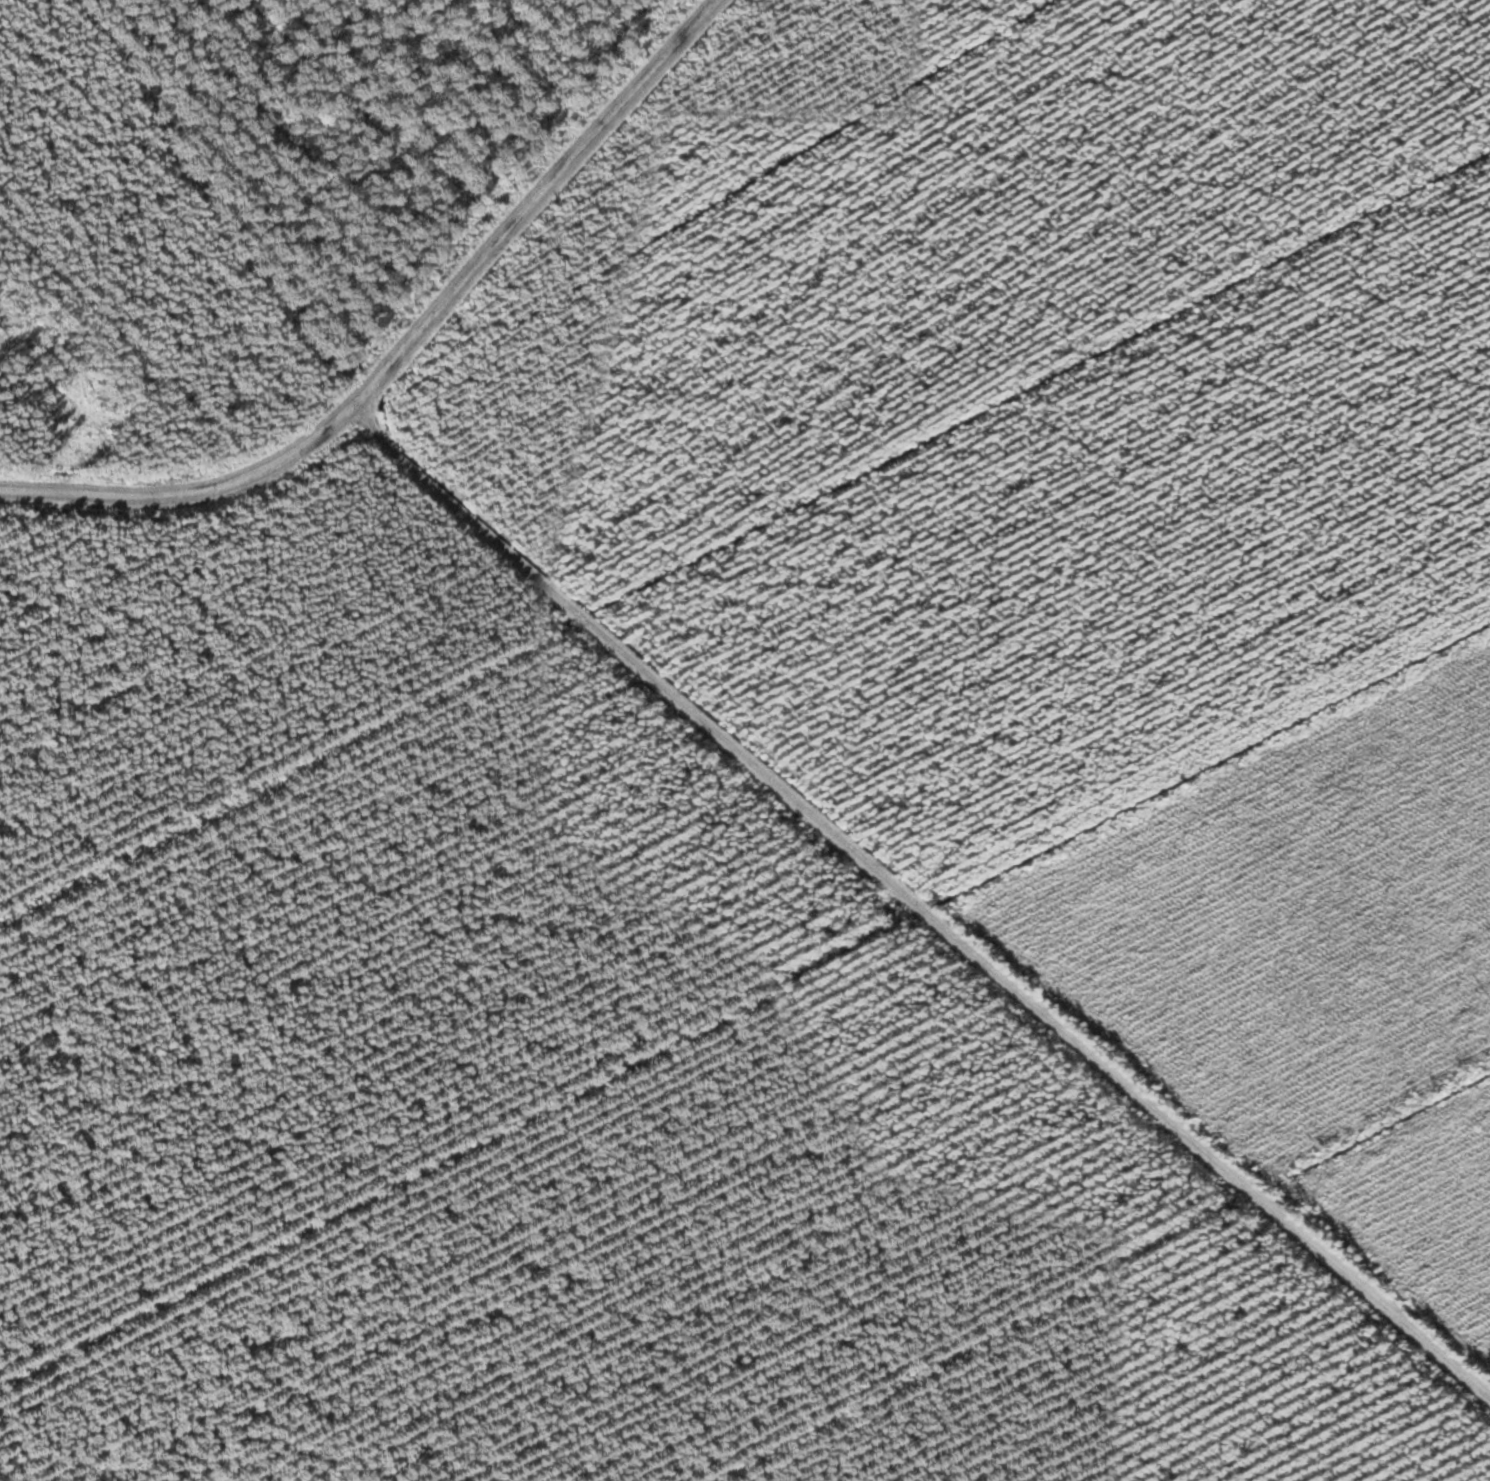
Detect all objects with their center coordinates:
road: (411, 343)

